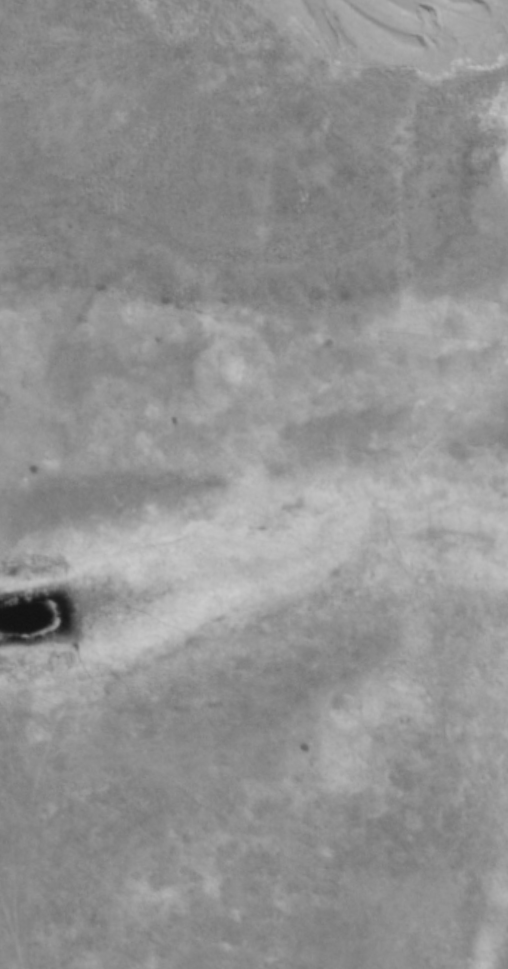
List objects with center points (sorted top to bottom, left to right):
quarry: (229, 21)

